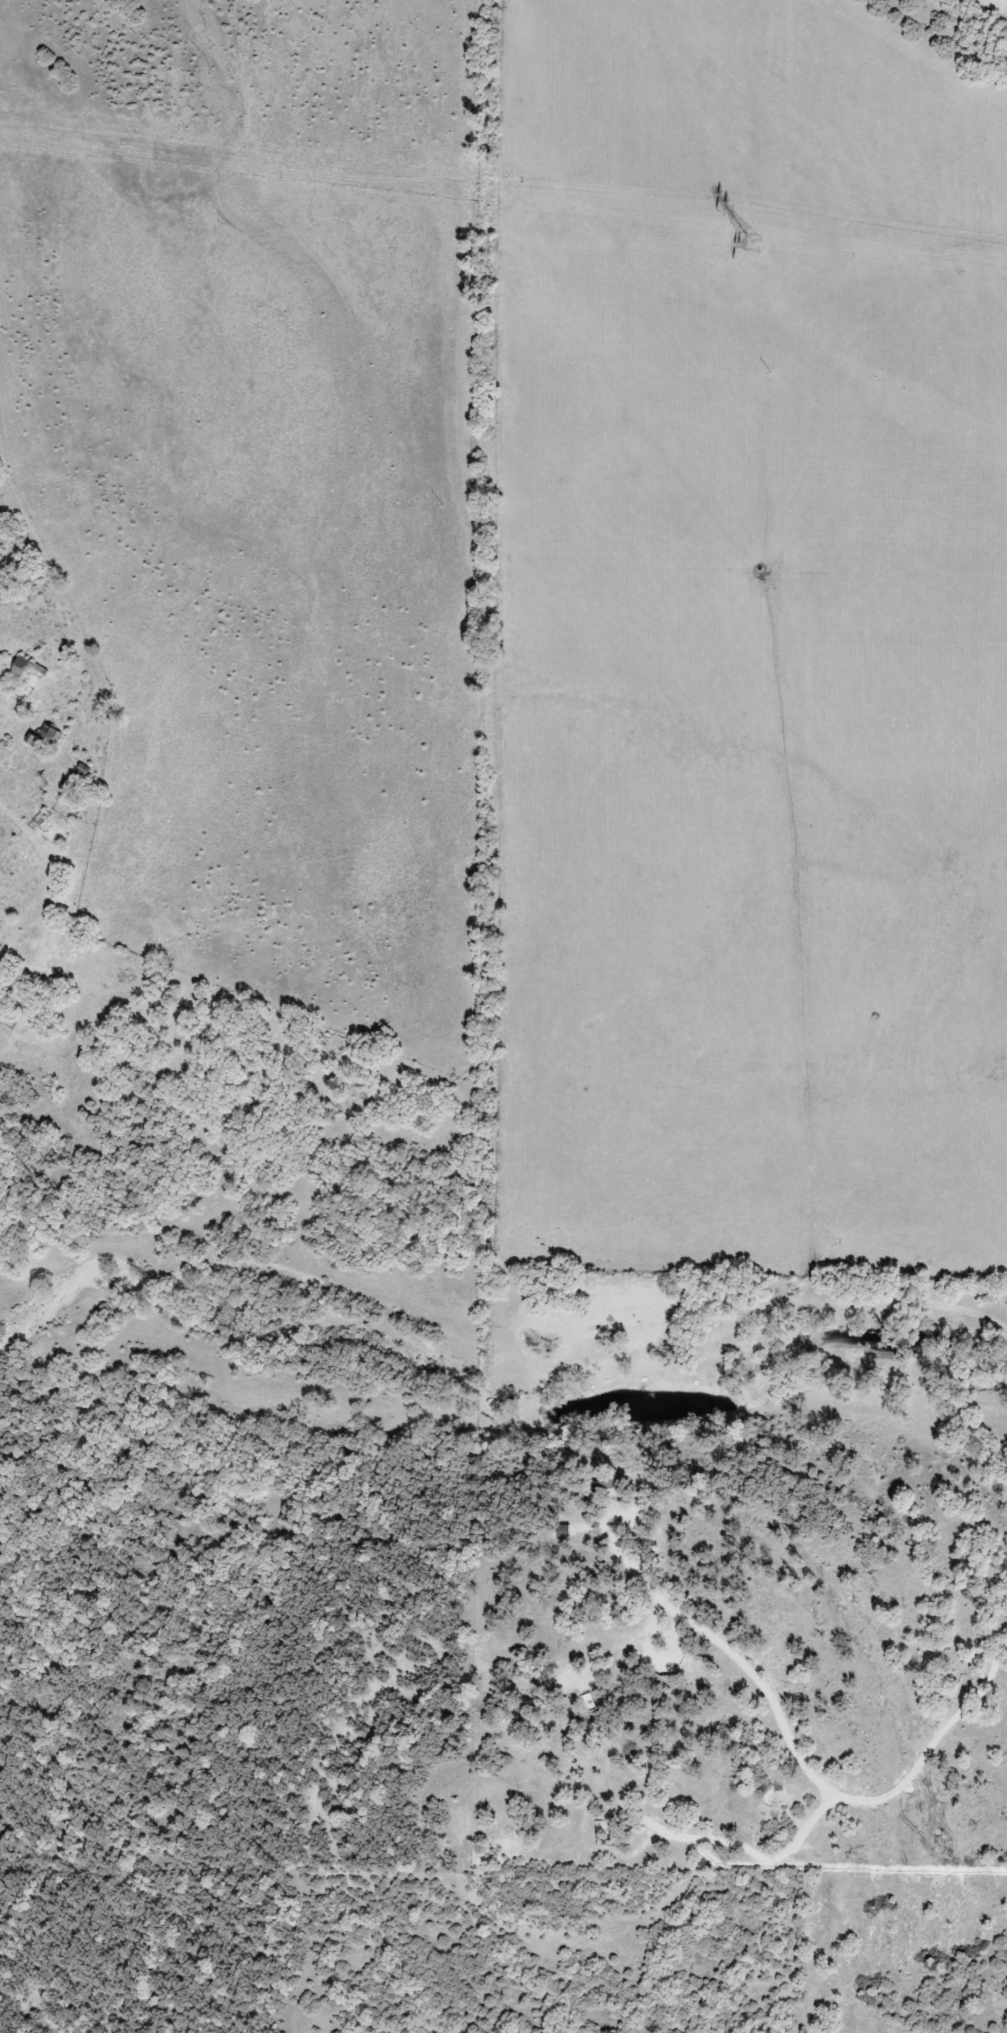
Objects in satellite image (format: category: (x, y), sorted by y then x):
power tower: (756, 246)
road: (804, 1753)
park: (612, 1835)

